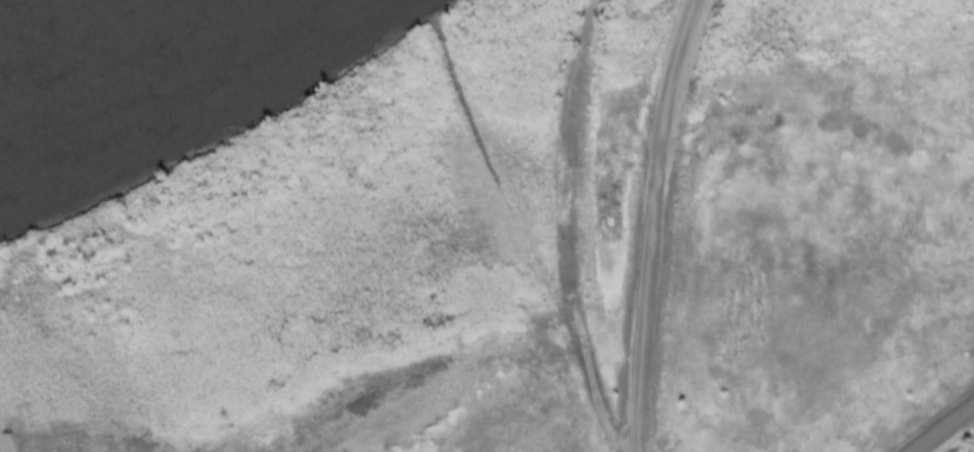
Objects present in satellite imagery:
road: (485, 168)
road: (650, 223)
road: (563, 228)
road: (277, 299)
road: (941, 427)

